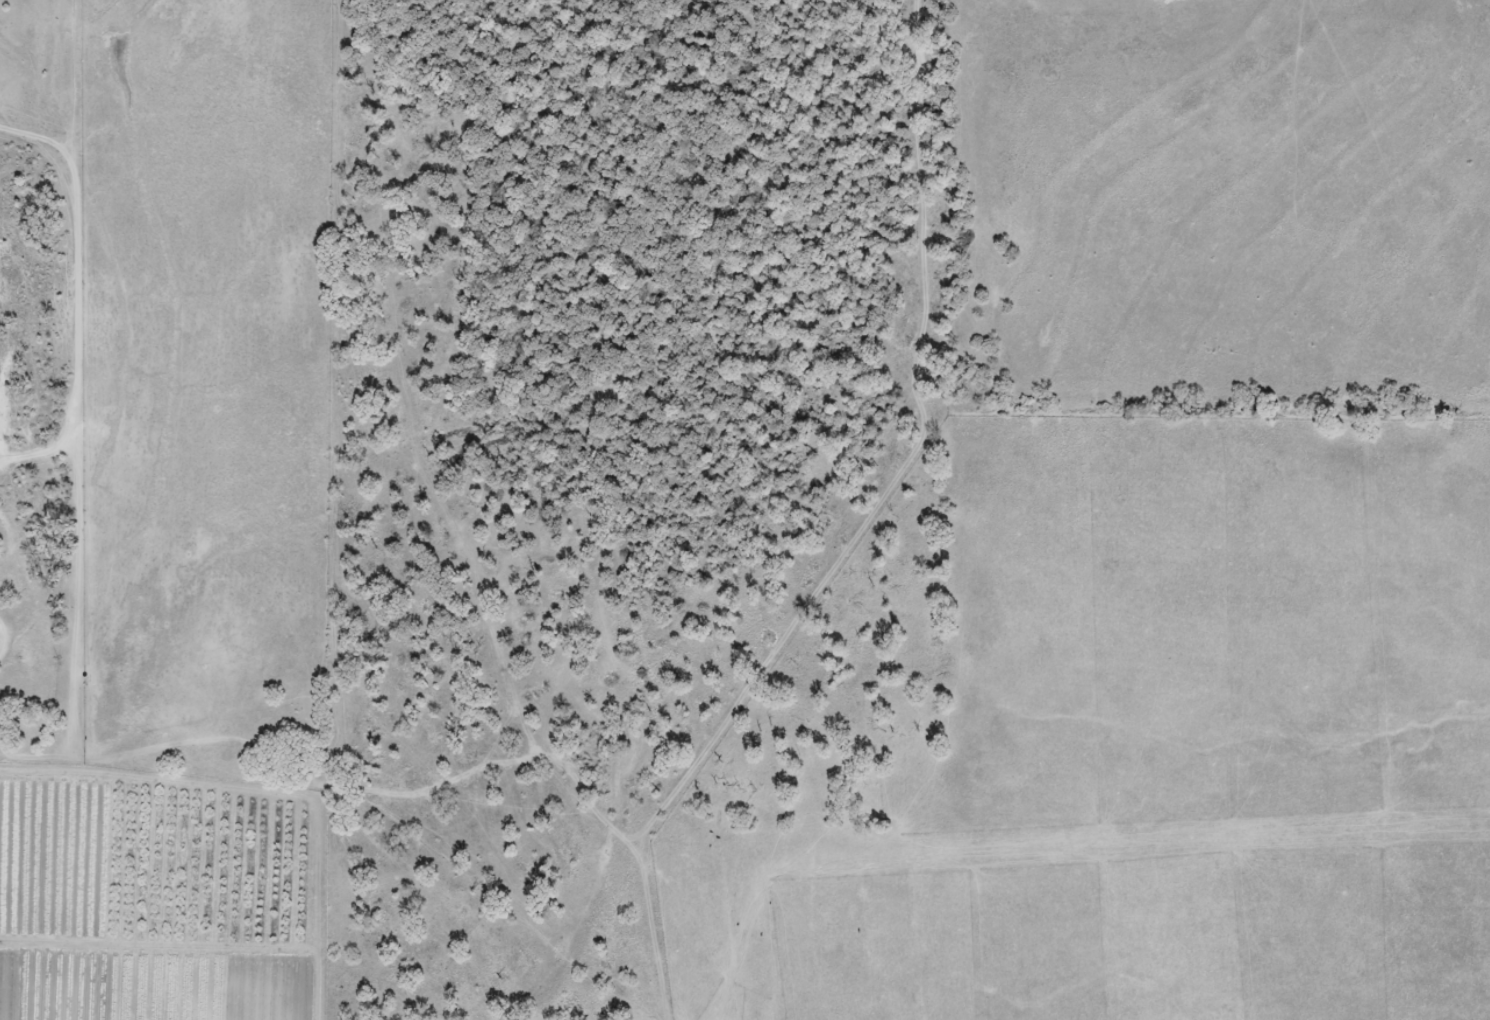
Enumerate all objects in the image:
road: (86, 343)
road: (848, 526)

